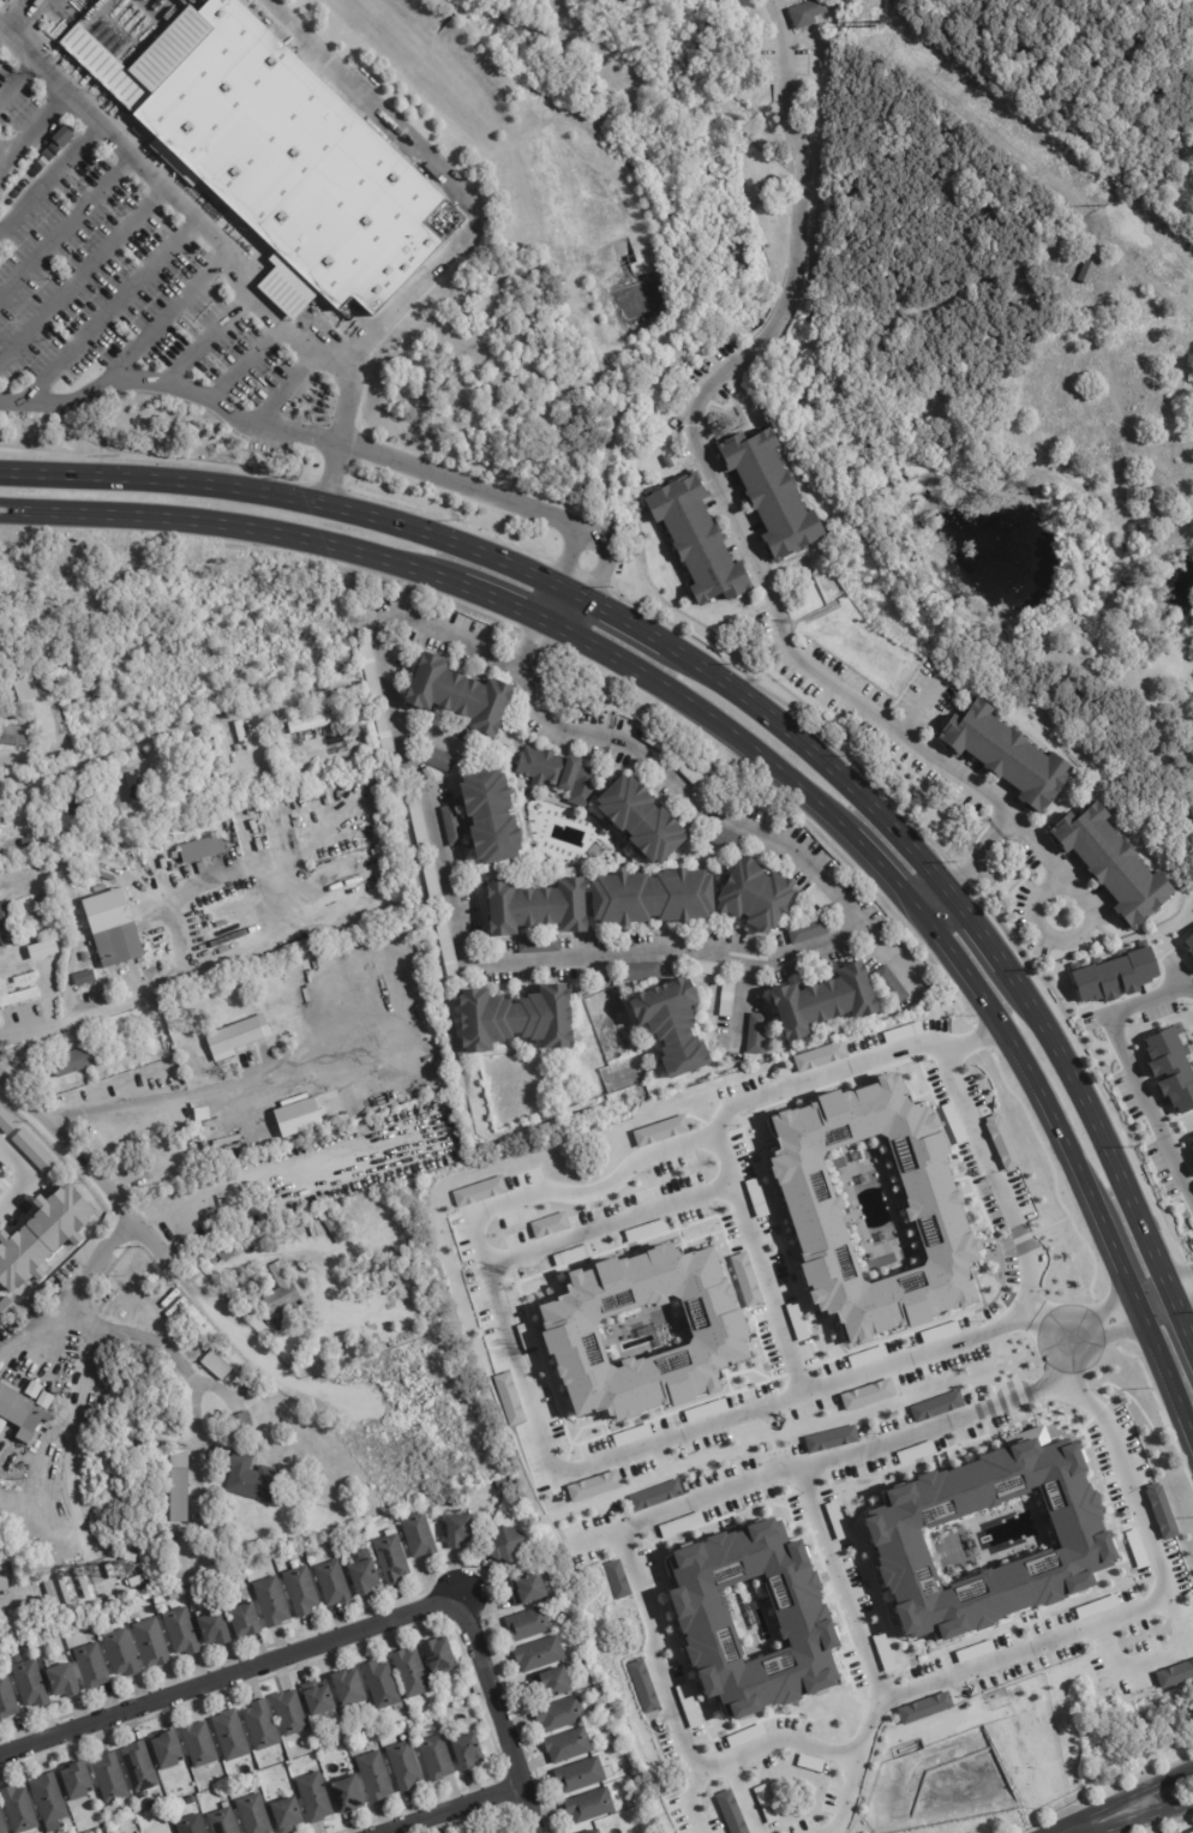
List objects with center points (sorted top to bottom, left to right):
road: (14, 13)
building: (808, 14)
power tower: (879, 20)
road: (0, 28)
road: (17, 77)
road: (30, 125)
building: (64, 137)
building: (269, 144)
building: (49, 151)
road: (1, 152)
building: (38, 162)
building: (34, 172)
road: (50, 175)
road: (444, 178)
building: (22, 182)
building: (16, 188)
building: (8, 200)
power tower: (1099, 204)
road: (66, 223)
road: (220, 246)
parking lot: (102, 263)
road: (82, 271)
building: (1089, 271)
road: (110, 306)
road: (166, 315)
road: (205, 337)
road: (242, 359)
road: (170, 384)
road: (282, 388)
building: (669, 462)
road: (461, 484)
road: (718, 485)
building: (774, 496)
road: (220, 522)
building: (700, 541)
road: (569, 556)
road: (600, 557)
road: (572, 581)
road: (492, 597)
road: (558, 605)
road: (578, 637)
road: (535, 647)
road: (511, 666)
building: (371, 672)
building: (90, 693)
road: (747, 696)
building: (24, 697)
building: (458, 697)
building: (7, 702)
road: (922, 706)
road: (553, 723)
building: (312, 724)
road: (727, 730)
road: (151, 736)
building: (385, 736)
building: (12, 742)
building: (1008, 756)
building: (439, 760)
building: (609, 762)
building: (560, 775)
building: (124, 795)
building: (78, 802)
building: (493, 819)
building: (642, 821)
road: (1006, 821)
building: (454, 827)
road: (744, 828)
building: (725, 839)
building: (203, 851)
road: (973, 858)
building: (1108, 863)
road: (879, 867)
road: (272, 875)
building: (433, 883)
building: (755, 898)
building: (41, 899)
building: (653, 899)
building: (822, 900)
road: (934, 901)
road: (454, 905)
building: (44, 906)
building: (538, 909)
building: (47, 915)
building: (29, 921)
building: (8, 928)
building: (810, 933)
road: (1061, 938)
road: (845, 942)
building: (540, 945)
building: (1187, 946)
building: (119, 947)
building: (302, 947)
building: (42, 950)
road: (951, 956)
building: (85, 960)
building: (707, 970)
building: (641, 974)
building: (1114, 975)
building: (132, 977)
building: (84, 980)
building: (892, 988)
building: (18, 998)
building: (729, 999)
building: (828, 1001)
road: (92, 1012)
building: (244, 1017)
building: (253, 1017)
building: (518, 1020)
building: (675, 1025)
building: (903, 1032)
building: (77, 1034)
building: (230, 1036)
building: (757, 1036)
road: (973, 1040)
building: (35, 1048)
building: (819, 1056)
building: (194, 1062)
building: (72, 1064)
building: (1169, 1070)
road: (1132, 1077)
road: (803, 1084)
road: (190, 1092)
building: (6, 1121)
building: (301, 1126)
building: (658, 1130)
building: (1001, 1142)
building: (1191, 1143)
road: (1065, 1144)
building: (263, 1146)
building: (32, 1151)
building: (145, 1156)
building: (1192, 1164)
road: (276, 1173)
road: (17, 1175)
building: (476, 1191)
building: (0, 1192)
building: (873, 1209)
building: (546, 1224)
building: (334, 1227)
building: (42, 1236)
building: (217, 1254)
road: (167, 1256)
road: (503, 1259)
road: (1181, 1278)
building: (392, 1281)
building: (747, 1282)
building: (284, 1294)
road: (1185, 1300)
building: (6, 1308)
road: (1104, 1310)
road: (1137, 1310)
road: (1067, 1318)
road: (1038, 1324)
road: (38, 1329)
road: (1116, 1330)
building: (642, 1331)
building: (939, 1332)
road: (916, 1356)
road: (173, 1358)
building: (215, 1365)
road: (84, 1373)
road: (1061, 1373)
road: (1167, 1382)
road: (799, 1383)
building: (865, 1394)
building: (508, 1398)
building: (934, 1404)
building: (24, 1409)
building: (705, 1410)
building: (241, 1427)
building: (828, 1438)
building: (645, 1464)
building: (247, 1475)
building: (589, 1485)
building: (179, 1488)
building: (652, 1494)
road: (713, 1498)
building: (110, 1499)
building: (1158, 1510)
building: (835, 1521)
building: (461, 1532)
building: (414, 1534)
building: (2, 1535)
building: (988, 1538)
building: (109, 1545)
building: (505, 1546)
building: (388, 1556)
building: (110, 1571)
building: (98, 1573)
building: (360, 1573)
building: (4, 1577)
building: (616, 1580)
building: (330, 1581)
building: (83, 1583)
building: (299, 1589)
building: (65, 1591)
building: (529, 1591)
building: (174, 1597)
building: (268, 1601)
road: (1146, 1607)
road: (853, 1617)
building: (240, 1619)
building: (751, 1619)
building: (529, 1625)
building: (211, 1627)
building: (180, 1629)
road: (347, 1634)
building: (149, 1641)
building: (116, 1649)
building: (433, 1654)
building: (540, 1655)
road: (1152, 1660)
building: (88, 1665)
building: (407, 1671)
building: (1174, 1675)
building: (64, 1682)
building: (30, 1685)
building: (382, 1685)
building: (557, 1685)
building: (642, 1687)
building: (349, 1689)
building: (7, 1701)
building: (320, 1702)
building: (924, 1708)
building: (290, 1713)
building: (562, 1715)
building: (260, 1727)
building: (230, 1737)
building: (200, 1745)
building: (569, 1747)
building: (164, 1748)
road: (810, 1749)
building: (463, 1750)
building: (432, 1756)
building: (401, 1763)
building: (136, 1766)
building: (107, 1775)
building: (371, 1775)
building: (581, 1777)
road: (1163, 1779)
building: (78, 1783)
building: (343, 1793)
building: (311, 1797)
road: (744, 1798)
building: (50, 1801)
building: (766, 1804)
road: (688, 1805)
road: (445, 1807)
building: (590, 1807)
building: (19, 1810)
road: (1169, 1810)
building: (731, 1811)
building: (283, 1814)
building: (253, 1815)
road: (1108, 1819)
road: (1150, 1819)
building: (220, 1820)
building: (2, 1825)
building: (190, 1825)
building: (594, 1832)
building: (596, 1832)
building: (1191, 1832)

